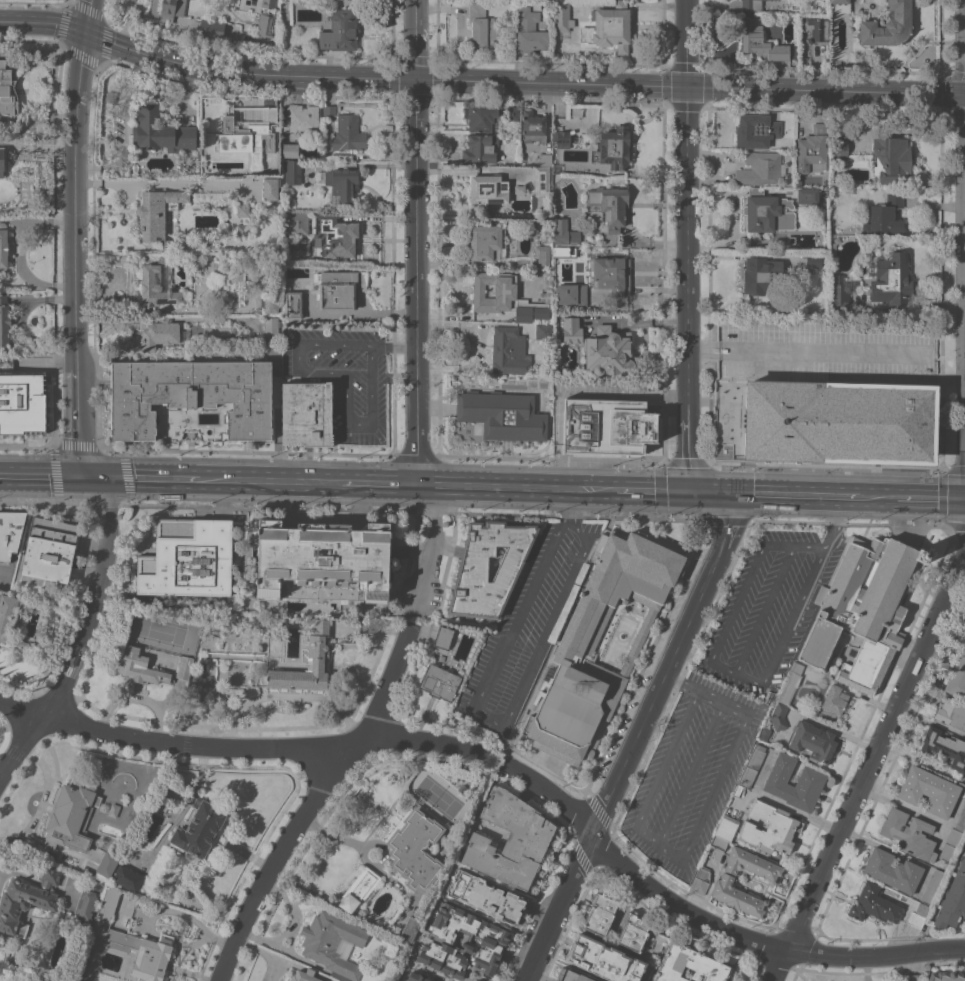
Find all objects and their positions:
building: (839, 1)
building: (270, 3)
building: (752, 5)
building: (172, 9)
building: (562, 15)
road: (92, 18)
building: (266, 24)
building: (888, 24)
road: (45, 25)
building: (482, 27)
building: (610, 27)
building: (212, 28)
building: (816, 28)
building: (341, 31)
building: (530, 31)
traffic signals: (90, 36)
building: (763, 42)
road: (964, 47)
building: (836, 63)
traffic signals: (415, 80)
road: (525, 82)
traffic signals: (687, 86)
building: (7, 94)
traffic signals: (964, 94)
road: (81, 95)
building: (329, 111)
building: (512, 113)
building: (480, 117)
building: (303, 121)
building: (533, 126)
building: (756, 130)
building: (162, 131)
building: (244, 133)
building: (349, 133)
building: (562, 138)
road: (38, 146)
building: (613, 147)
building: (481, 148)
building: (812, 148)
building: (839, 148)
building: (290, 150)
building: (545, 159)
building: (892, 160)
building: (2, 162)
building: (518, 162)
building: (761, 169)
road: (471, 171)
building: (293, 172)
road: (167, 184)
building: (343, 185)
building: (271, 188)
building: (490, 189)
building: (520, 189)
building: (541, 191)
building: (808, 195)
building: (609, 206)
building: (243, 210)
building: (764, 210)
building: (158, 211)
building: (885, 215)
road: (11, 220)
building: (297, 222)
building: (243, 230)
building: (565, 233)
building: (339, 238)
building: (487, 241)
road: (416, 242)
building: (3, 246)
road: (688, 246)
road: (21, 249)
building: (561, 251)
building: (542, 258)
building: (815, 260)
building: (611, 274)
building: (762, 276)
building: (891, 279)
building: (157, 287)
building: (339, 288)
building: (839, 293)
building: (572, 295)
building: (504, 298)
building: (272, 304)
building: (293, 306)
road: (79, 316)
building: (4, 320)
road: (639, 321)
building: (272, 326)
building: (567, 329)
building: (543, 331)
building: (160, 335)
road: (395, 344)
building: (272, 345)
building: (510, 351)
building: (609, 352)
road: (806, 353)
road: (51, 363)
road: (346, 375)
building: (191, 395)
building: (22, 402)
building: (307, 414)
building: (503, 414)
building: (839, 422)
building: (607, 427)
road: (39, 476)
traffic signals: (80, 477)
road: (95, 477)
traffic signals: (111, 478)
road: (158, 478)
road: (272, 481)
road: (379, 484)
road: (514, 487)
road: (650, 492)
traffic signals: (690, 493)
road: (714, 494)
traffic signals: (738, 495)
road: (790, 496)
road: (851, 498)
road: (877, 498)
road: (929, 499)
road: (570, 504)
road: (833, 523)
building: (10, 533)
road: (435, 541)
road: (794, 546)
building: (51, 549)
building: (323, 555)
building: (187, 559)
road: (101, 570)
building: (472, 572)
road: (736, 604)
building: (864, 609)
road: (765, 611)
road: (792, 618)
building: (9, 619)
building: (444, 636)
building: (575, 650)
building: (318, 653)
building: (72, 660)
building: (139, 667)
building: (185, 667)
building: (203, 667)
building: (797, 668)
road: (734, 675)
building: (957, 677)
building: (440, 681)
road: (290, 694)
road: (707, 694)
road: (137, 695)
building: (770, 697)
building: (835, 699)
building: (951, 713)
building: (779, 716)
road: (498, 718)
road: (39, 720)
building: (765, 733)
road: (636, 739)
building: (813, 741)
road: (504, 742)
road: (238, 747)
building: (944, 747)
building: (752, 766)
road: (870, 769)
road: (660, 770)
road: (690, 771)
building: (811, 779)
building: (738, 790)
building: (929, 790)
road: (708, 800)
road: (312, 802)
building: (114, 810)
building: (71, 818)
building: (961, 821)
building: (198, 827)
building: (727, 827)
building: (770, 828)
building: (909, 833)
building: (511, 840)
building: (719, 843)
building: (951, 845)
building: (416, 850)
building: (752, 864)
building: (106, 866)
building: (893, 870)
building: (128, 878)
building: (702, 880)
building: (933, 887)
building: (359, 889)
building: (737, 896)
building: (486, 897)
building: (90, 898)
building: (953, 900)
building: (26, 902)
building: (873, 904)
building: (600, 914)
building: (918, 915)
road: (709, 923)
building: (411, 928)
building: (634, 933)
building: (126, 942)
building: (333, 942)
building: (462, 943)
building: (392, 950)
building: (604, 959)
building: (690, 964)
building: (304, 975)
building: (571, 976)
building: (946, 976)
building: (417, 977)
building: (4, 980)
building: (478, 980)

